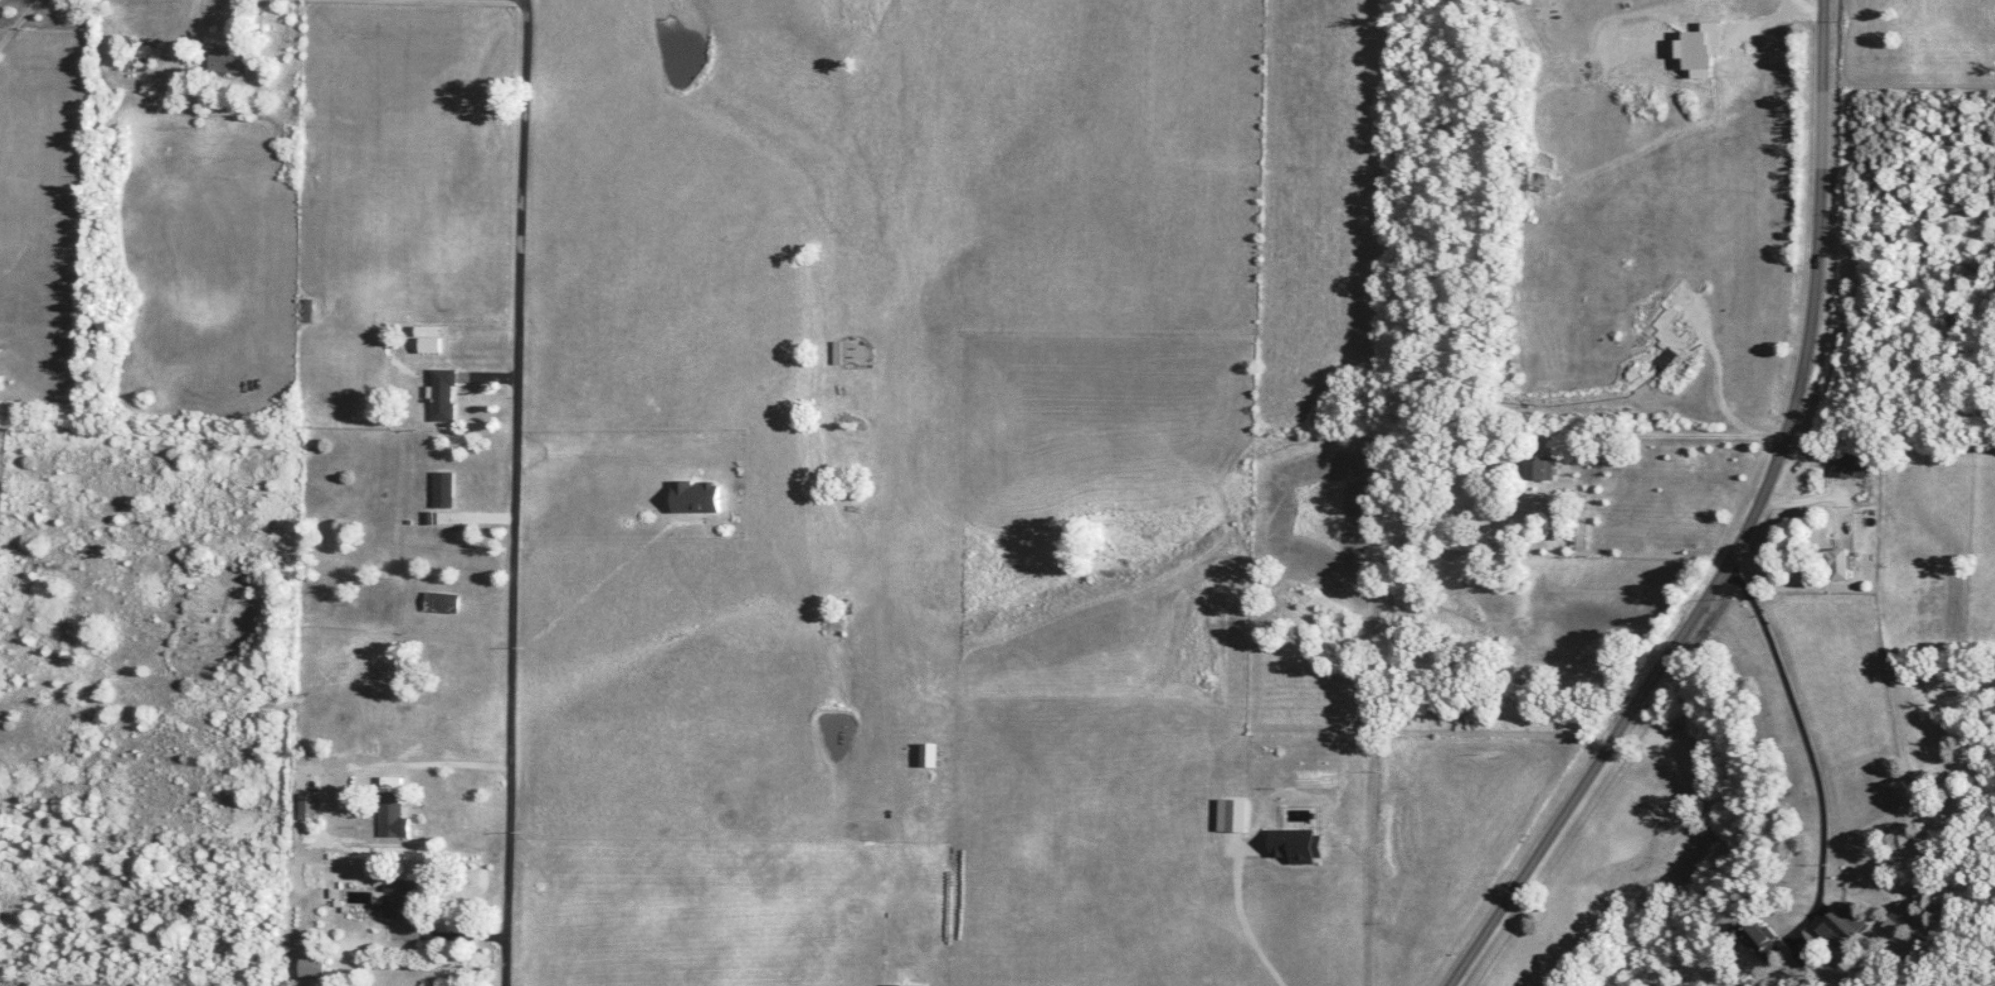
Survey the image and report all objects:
road: (1809, 7)
road: (22, 26)
building: (231, 61)
building: (308, 310)
building: (431, 344)
building: (444, 394)
road: (1728, 440)
building: (1671, 455)
building: (1846, 465)
building: (1539, 470)
building: (443, 488)
road: (520, 492)
road: (1837, 501)
road: (1753, 531)
building: (1466, 542)
building: (1834, 565)
building: (435, 601)
building: (393, 716)
road: (1813, 756)
road: (396, 768)
building: (357, 798)
building: (310, 806)
building: (392, 806)
building: (400, 896)
building: (1840, 927)
road: (454, 933)
building: (313, 967)

